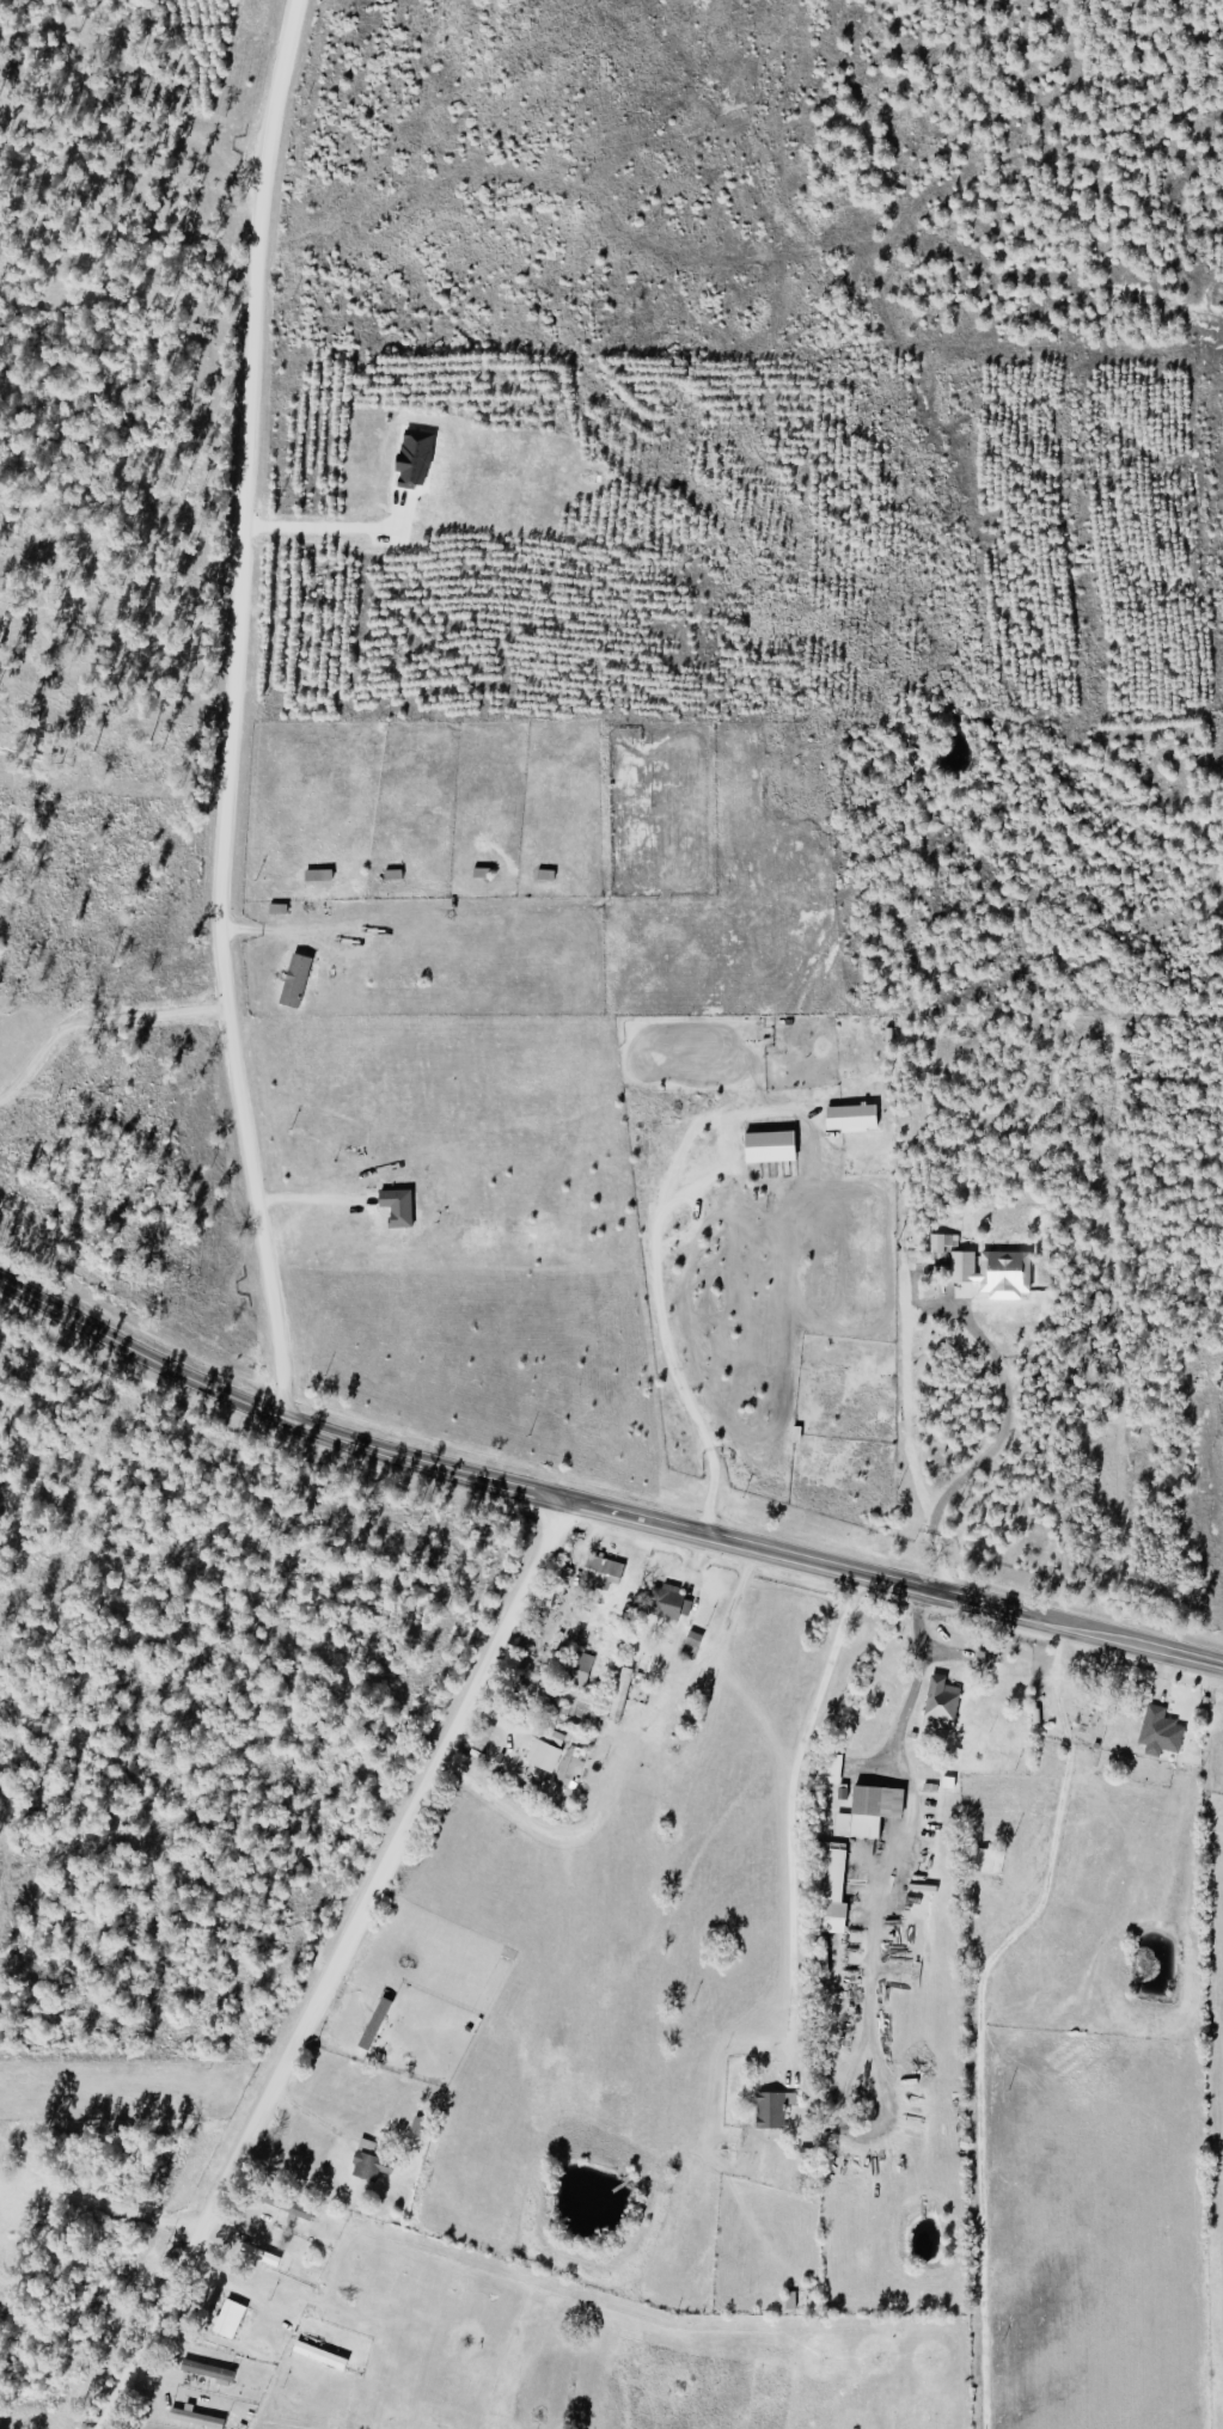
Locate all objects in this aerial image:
road: (190, 709)
road: (598, 1515)
building: (601, 1571)
building: (561, 1576)
building: (666, 1608)
building: (689, 1650)
building: (982, 1664)
building: (575, 1674)
building: (937, 1708)
building: (1082, 1714)
building: (1037, 1720)
building: (673, 1724)
building: (1157, 1736)
building: (540, 1760)
building: (867, 1815)
building: (984, 1864)
building: (831, 1891)
road: (331, 1966)
building: (769, 2113)
building: (420, 2130)
building: (369, 2170)
building: (285, 2209)
building: (270, 2260)
building: (226, 2323)
building: (318, 2360)
building: (204, 2374)
building: (189, 2422)

